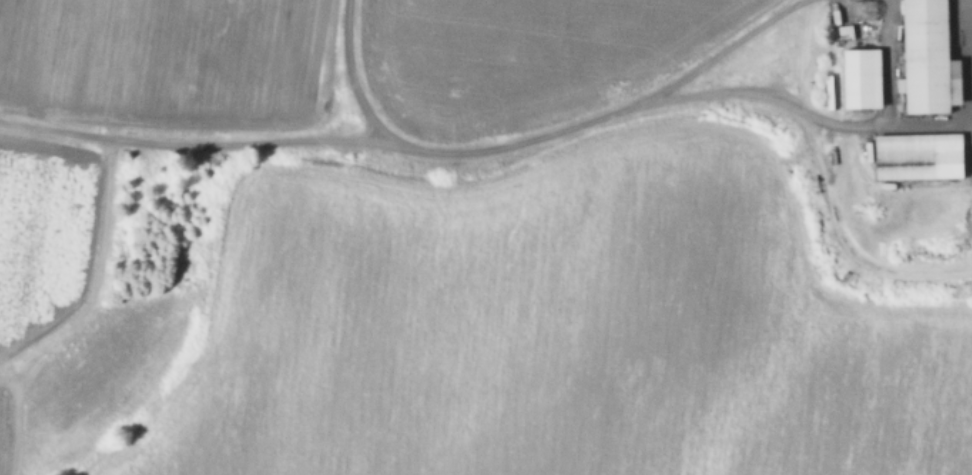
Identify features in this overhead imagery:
road: (971, 17)
building: (919, 53)
road: (345, 68)
building: (855, 74)
road: (765, 91)
road: (923, 121)
road: (410, 145)
building: (912, 151)
crop: (486, 237)

